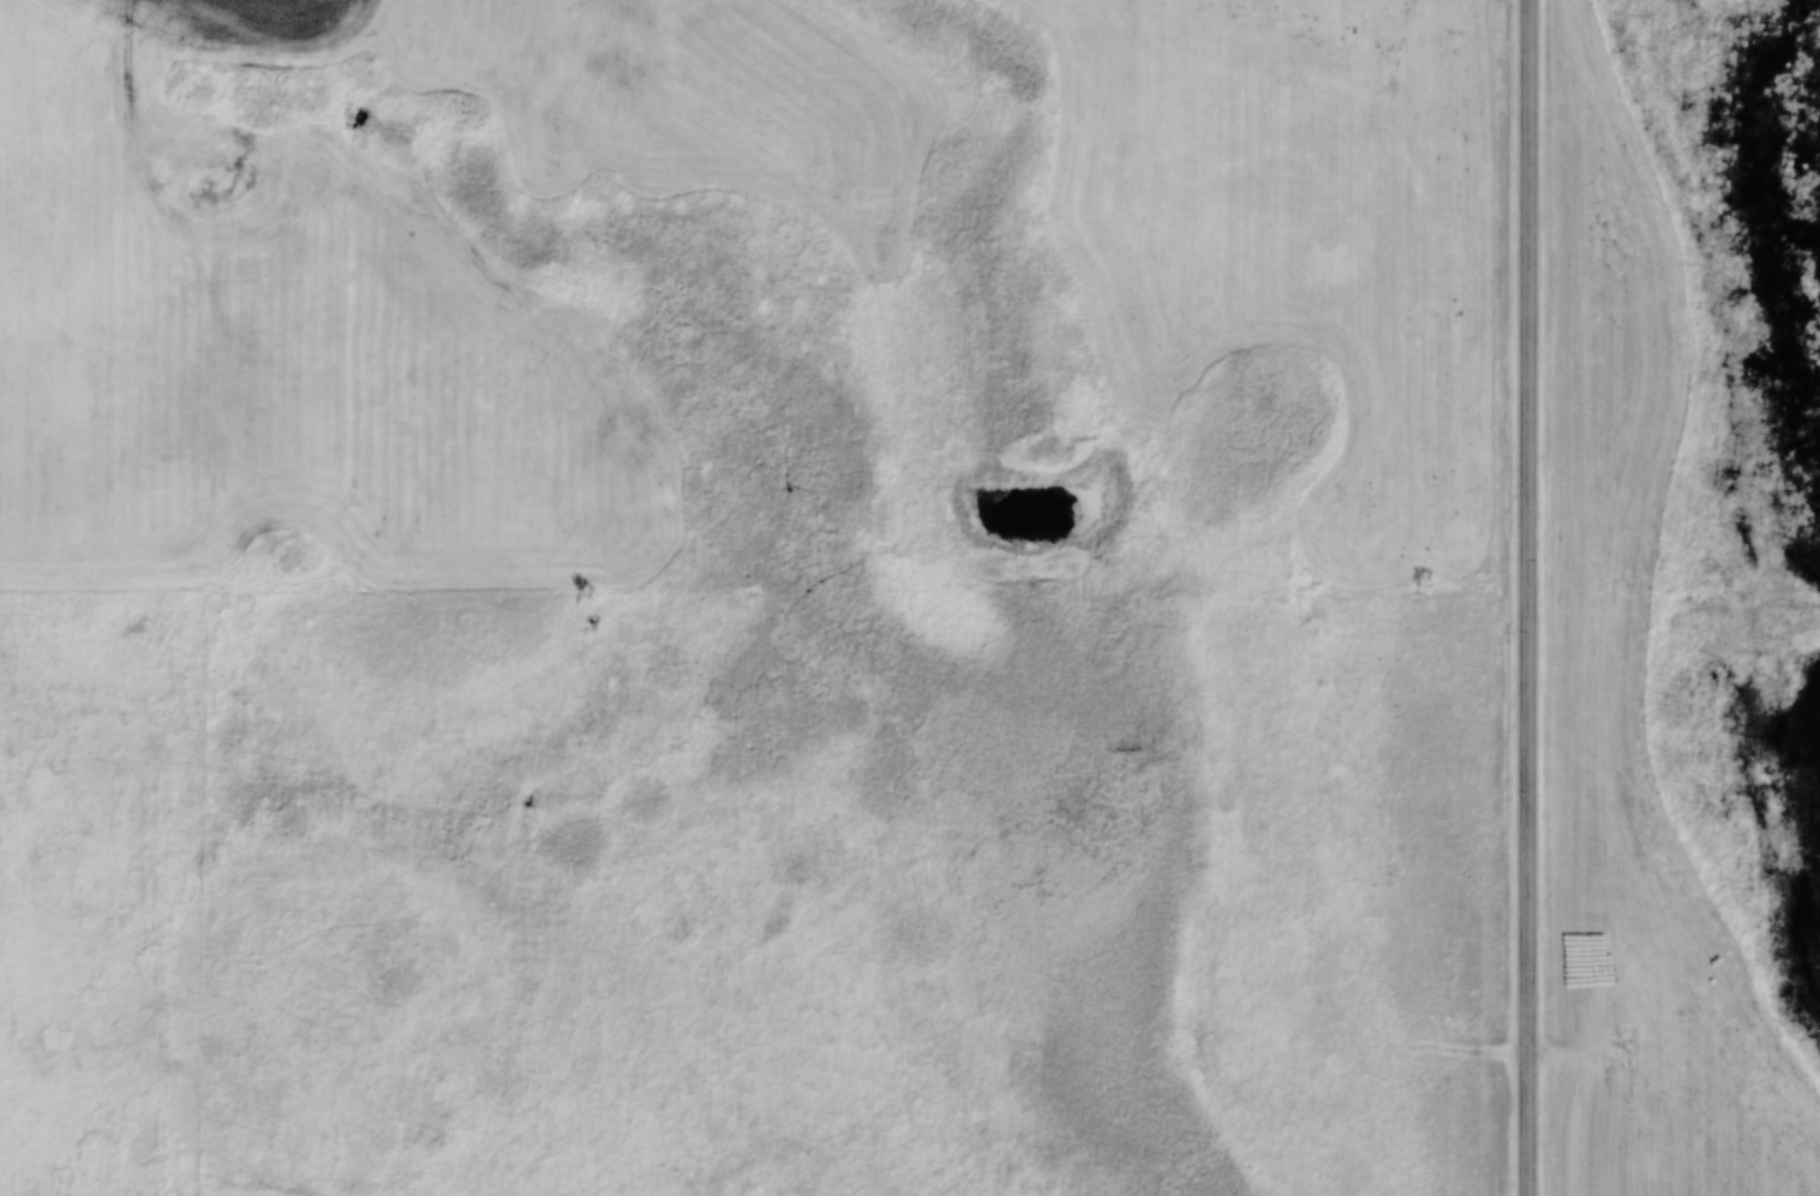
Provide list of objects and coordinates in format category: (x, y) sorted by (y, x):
road: (1525, 598)

